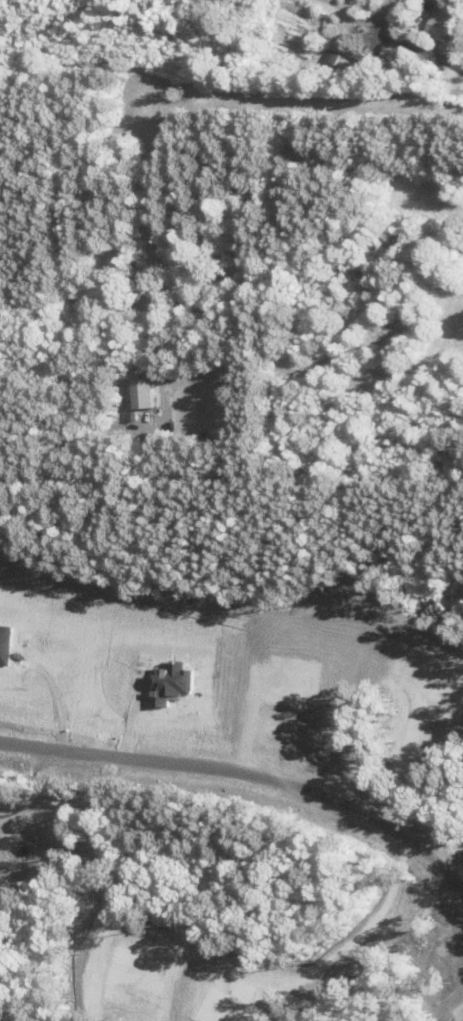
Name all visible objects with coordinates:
road: (352, 11)
building: (441, 20)
road: (420, 47)
road: (247, 777)

